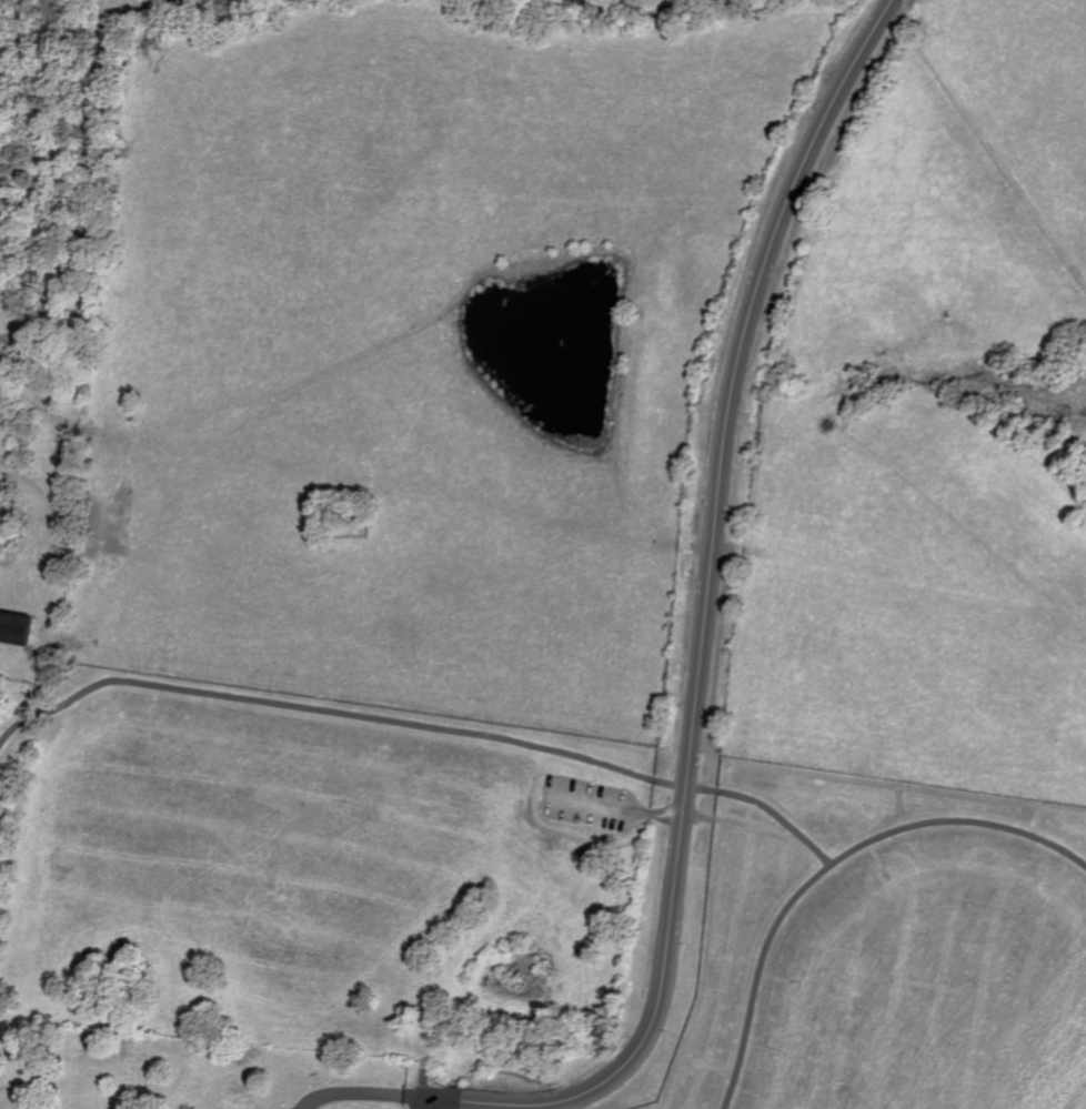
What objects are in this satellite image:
road: (648, 6)
road: (86, 152)
building: (14, 627)
road: (704, 628)
road: (420, 724)
parking lot: (586, 804)
road: (617, 808)
road: (831, 861)
park: (530, 904)
park: (188, 1073)
road: (363, 1092)
road: (422, 1102)

